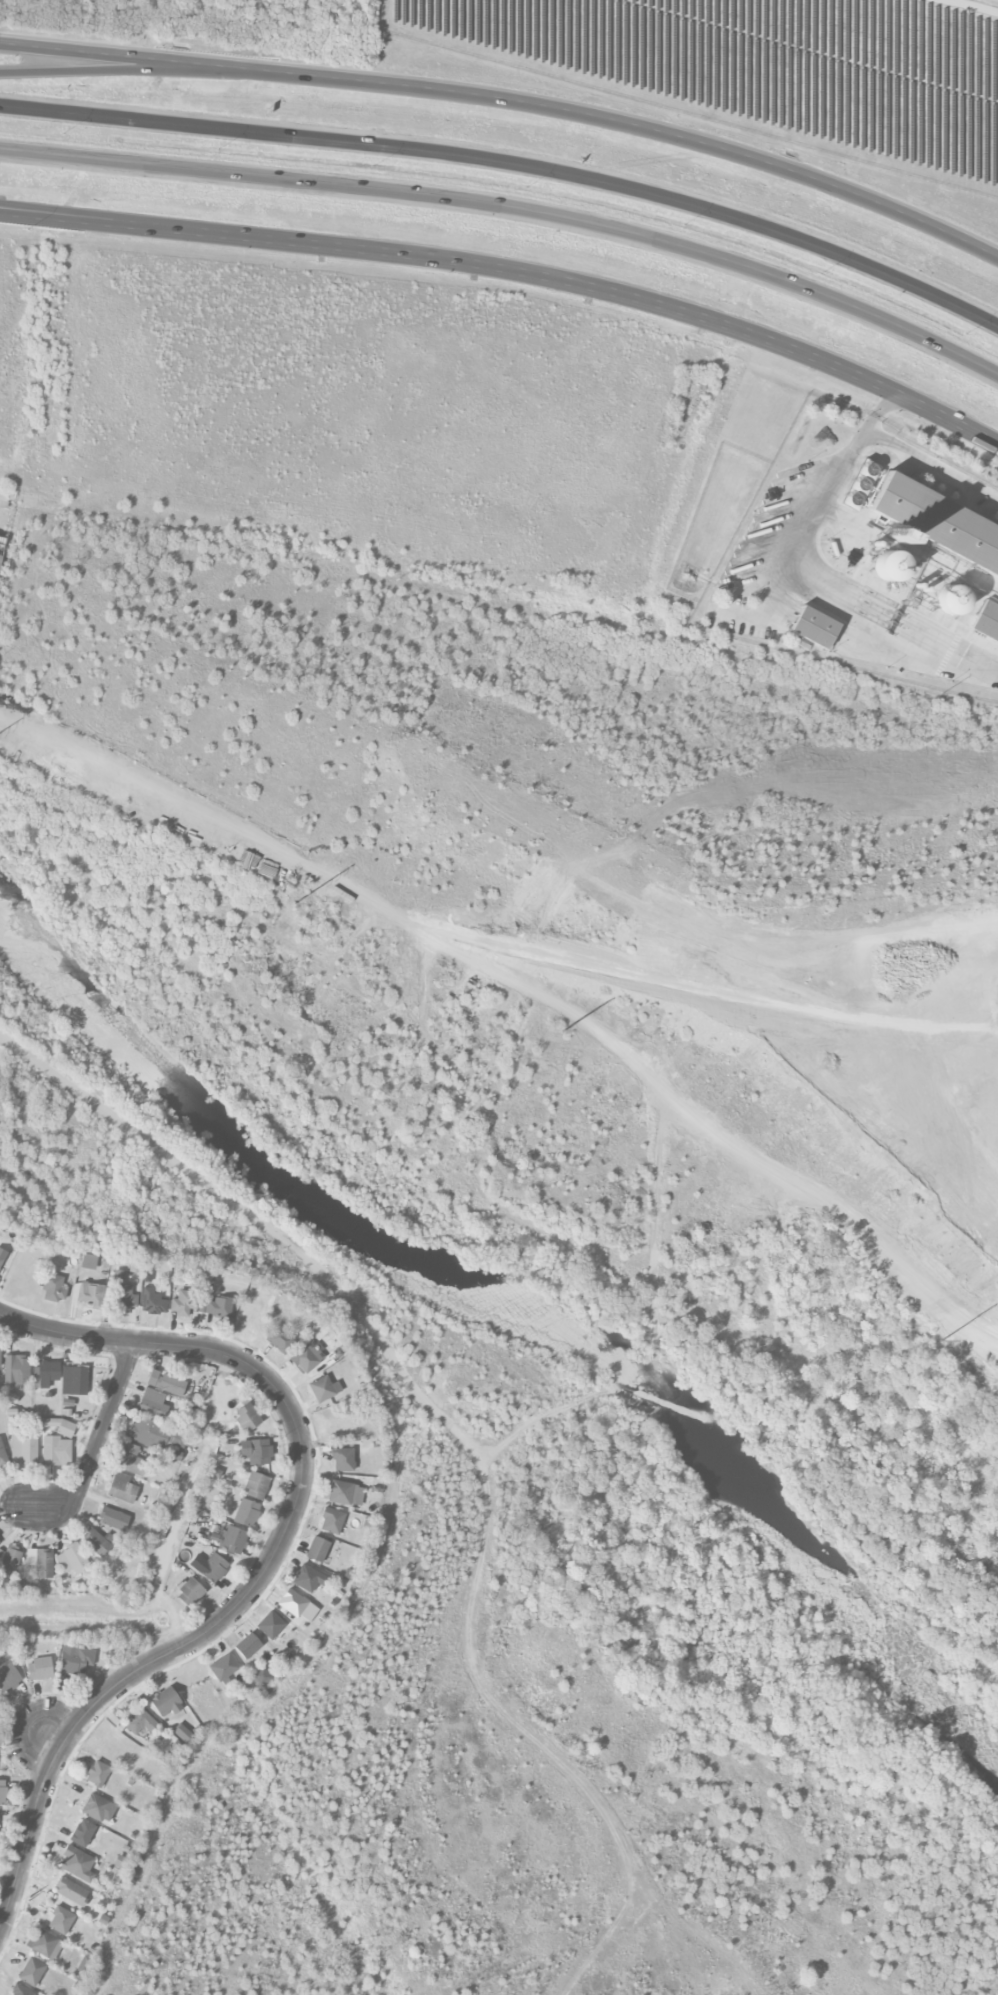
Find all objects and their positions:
road: (114, 67)
road: (510, 101)
road: (511, 161)
road: (512, 203)
road: (24, 212)
road: (513, 272)
road: (878, 413)
building: (864, 485)
building: (936, 524)
road: (809, 537)
building: (2, 547)
building: (889, 566)
building: (953, 600)
building: (987, 621)
building: (814, 627)
road: (706, 795)
building: (179, 828)
power tower: (293, 902)
road: (476, 937)
power tower: (563, 1030)
building: (2, 1255)
building: (88, 1261)
building: (54, 1288)
building: (124, 1294)
building: (92, 1295)
building: (152, 1302)
building: (183, 1303)
building: (214, 1306)
building: (280, 1339)
road: (112, 1340)
power tower: (941, 1340)
building: (308, 1357)
building: (0, 1366)
building: (17, 1370)
building: (47, 1373)
building: (74, 1381)
building: (166, 1383)
building: (324, 1388)
building: (152, 1404)
building: (247, 1417)
building: (66, 1428)
building: (159, 1436)
road: (95, 1449)
building: (24, 1450)
building: (56, 1451)
building: (256, 1451)
building: (2, 1455)
building: (342, 1459)
building: (131, 1460)
building: (257, 1486)
building: (122, 1488)
building: (345, 1493)
building: (246, 1513)
building: (113, 1518)
building: (332, 1521)
building: (233, 1540)
building: (0, 1542)
building: (96, 1542)
building: (317, 1549)
building: (72, 1559)
building: (9, 1560)
building: (41, 1562)
building: (212, 1567)
building: (308, 1578)
building: (190, 1593)
building: (292, 1603)
building: (271, 1625)
road: (191, 1643)
building: (248, 1646)
building: (75, 1659)
building: (224, 1667)
building: (39, 1669)
building: (261, 1676)
building: (8, 1677)
building: (165, 1702)
building: (139, 1720)
building: (183, 1733)
building: (97, 1774)
building: (2, 1792)
building: (99, 1808)
building: (82, 1833)
building: (77, 1864)
building: (71, 1891)
building: (61, 1920)
building: (44, 1944)
building: (32, 1971)
building: (21, 1991)

